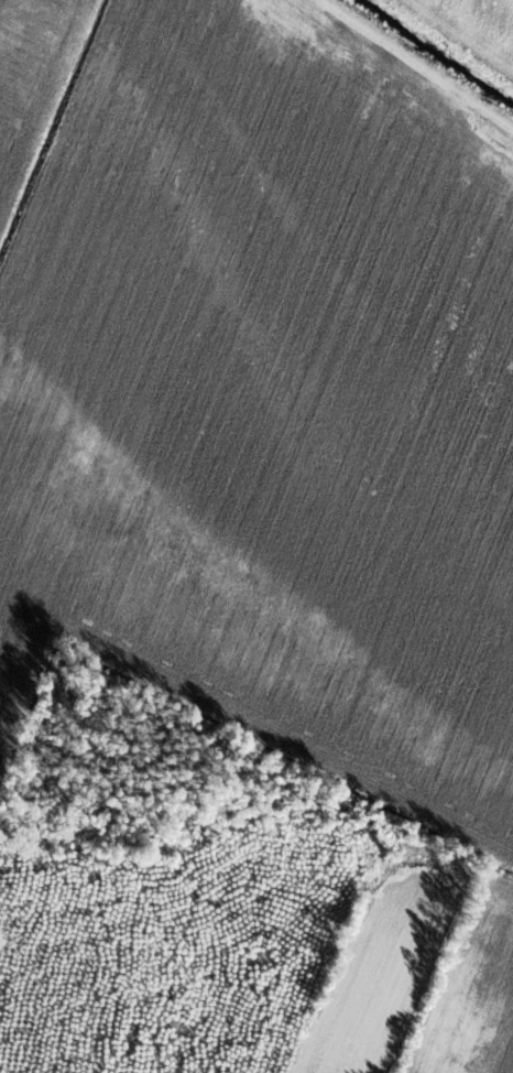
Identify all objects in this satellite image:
road: (413, 69)

